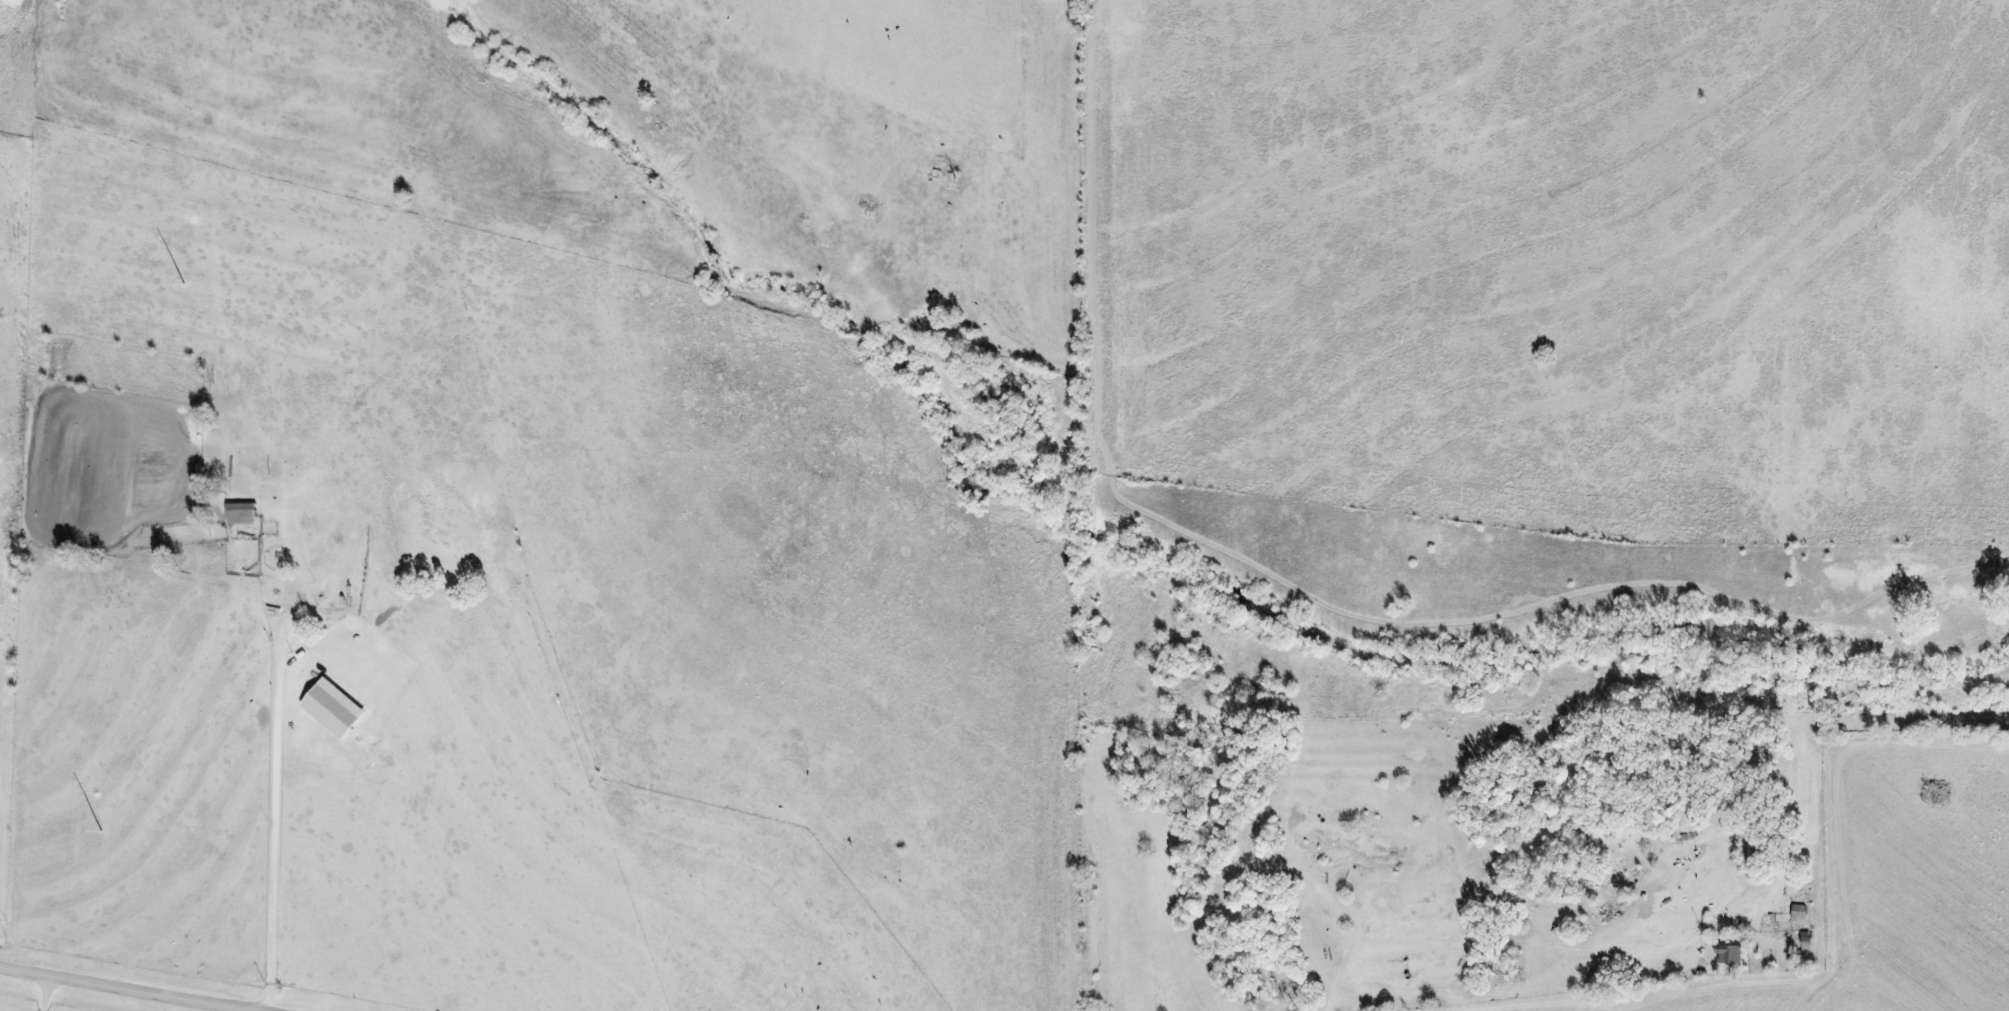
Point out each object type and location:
power tower: (183, 285)
building: (240, 513)
building: (334, 705)
road: (275, 801)
power tower: (100, 832)
building: (1798, 911)
road: (1511, 970)
road: (124, 987)

